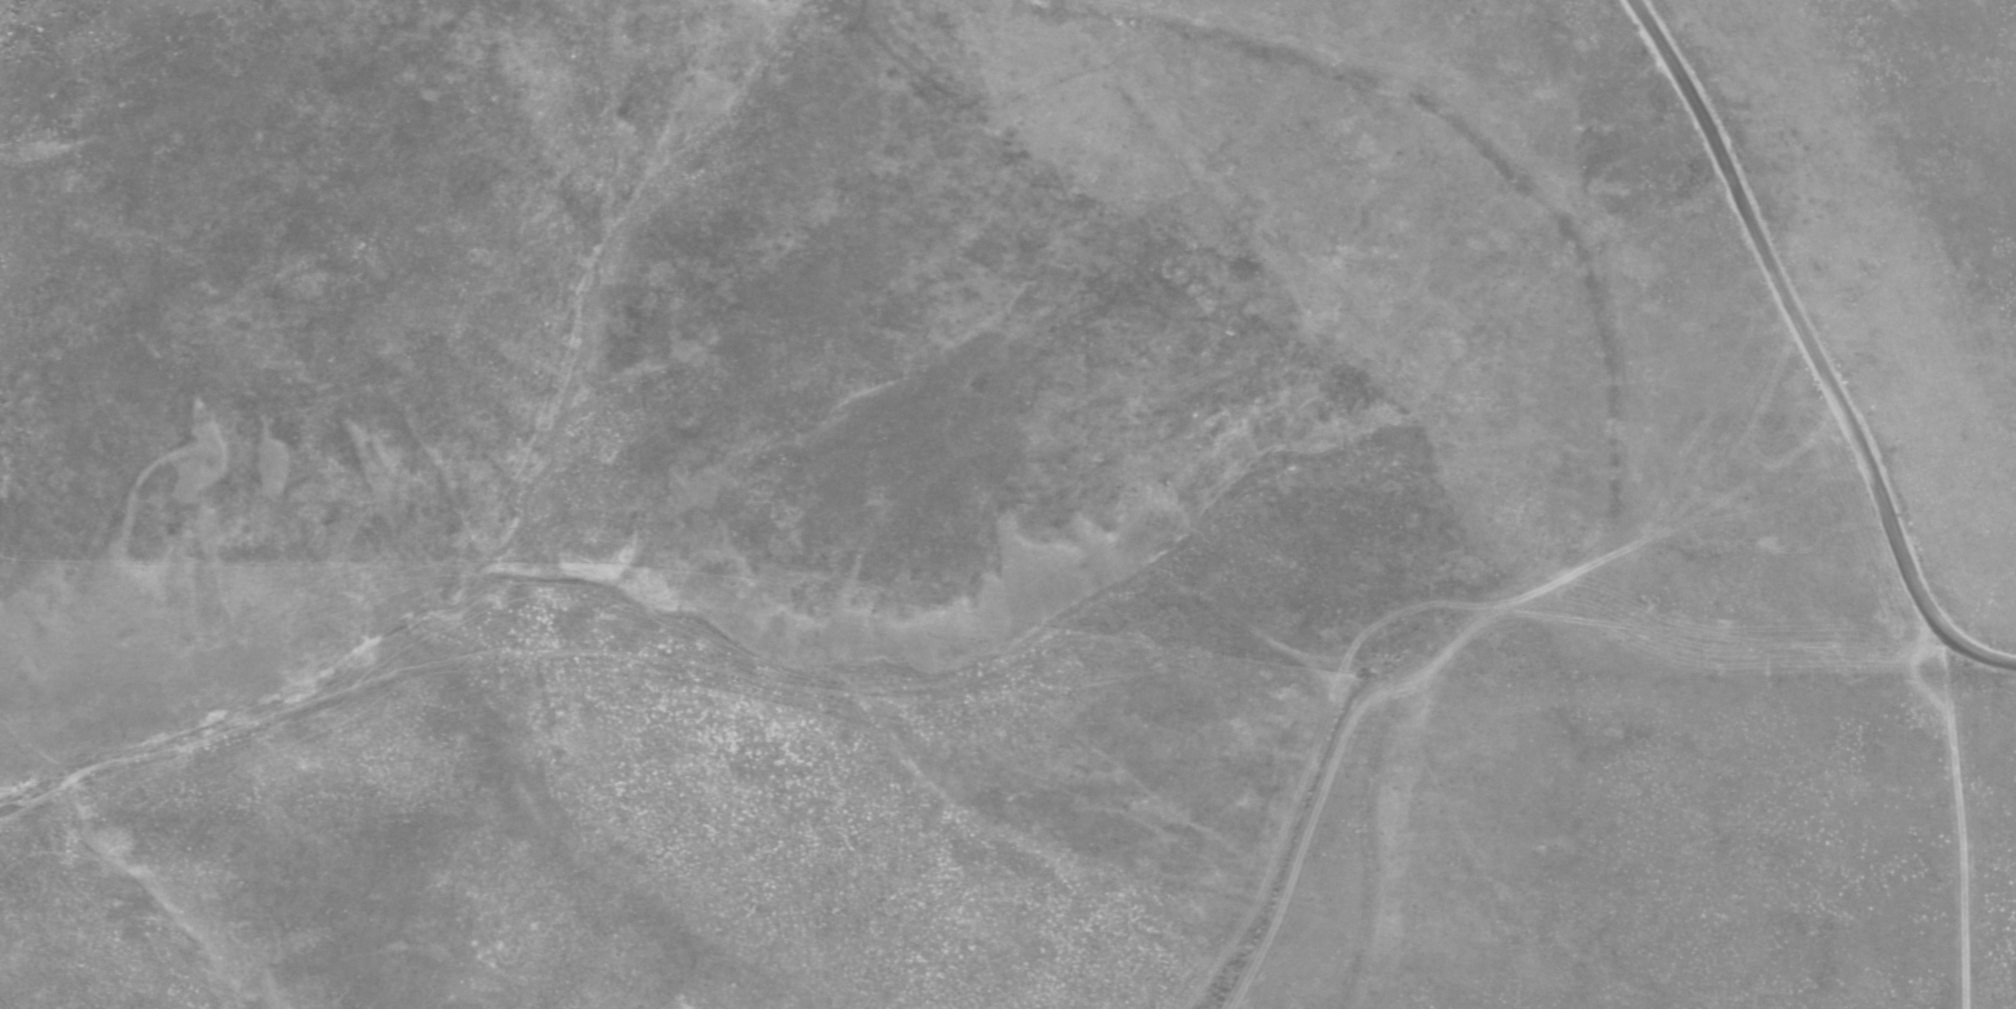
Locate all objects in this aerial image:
road: (1812, 347)
road: (1958, 817)

